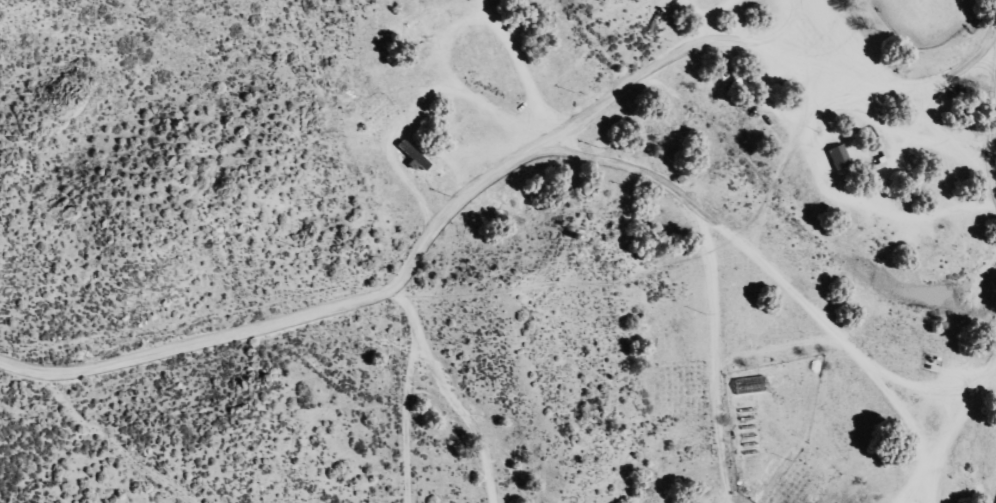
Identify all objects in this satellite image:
building: (838, 157)

